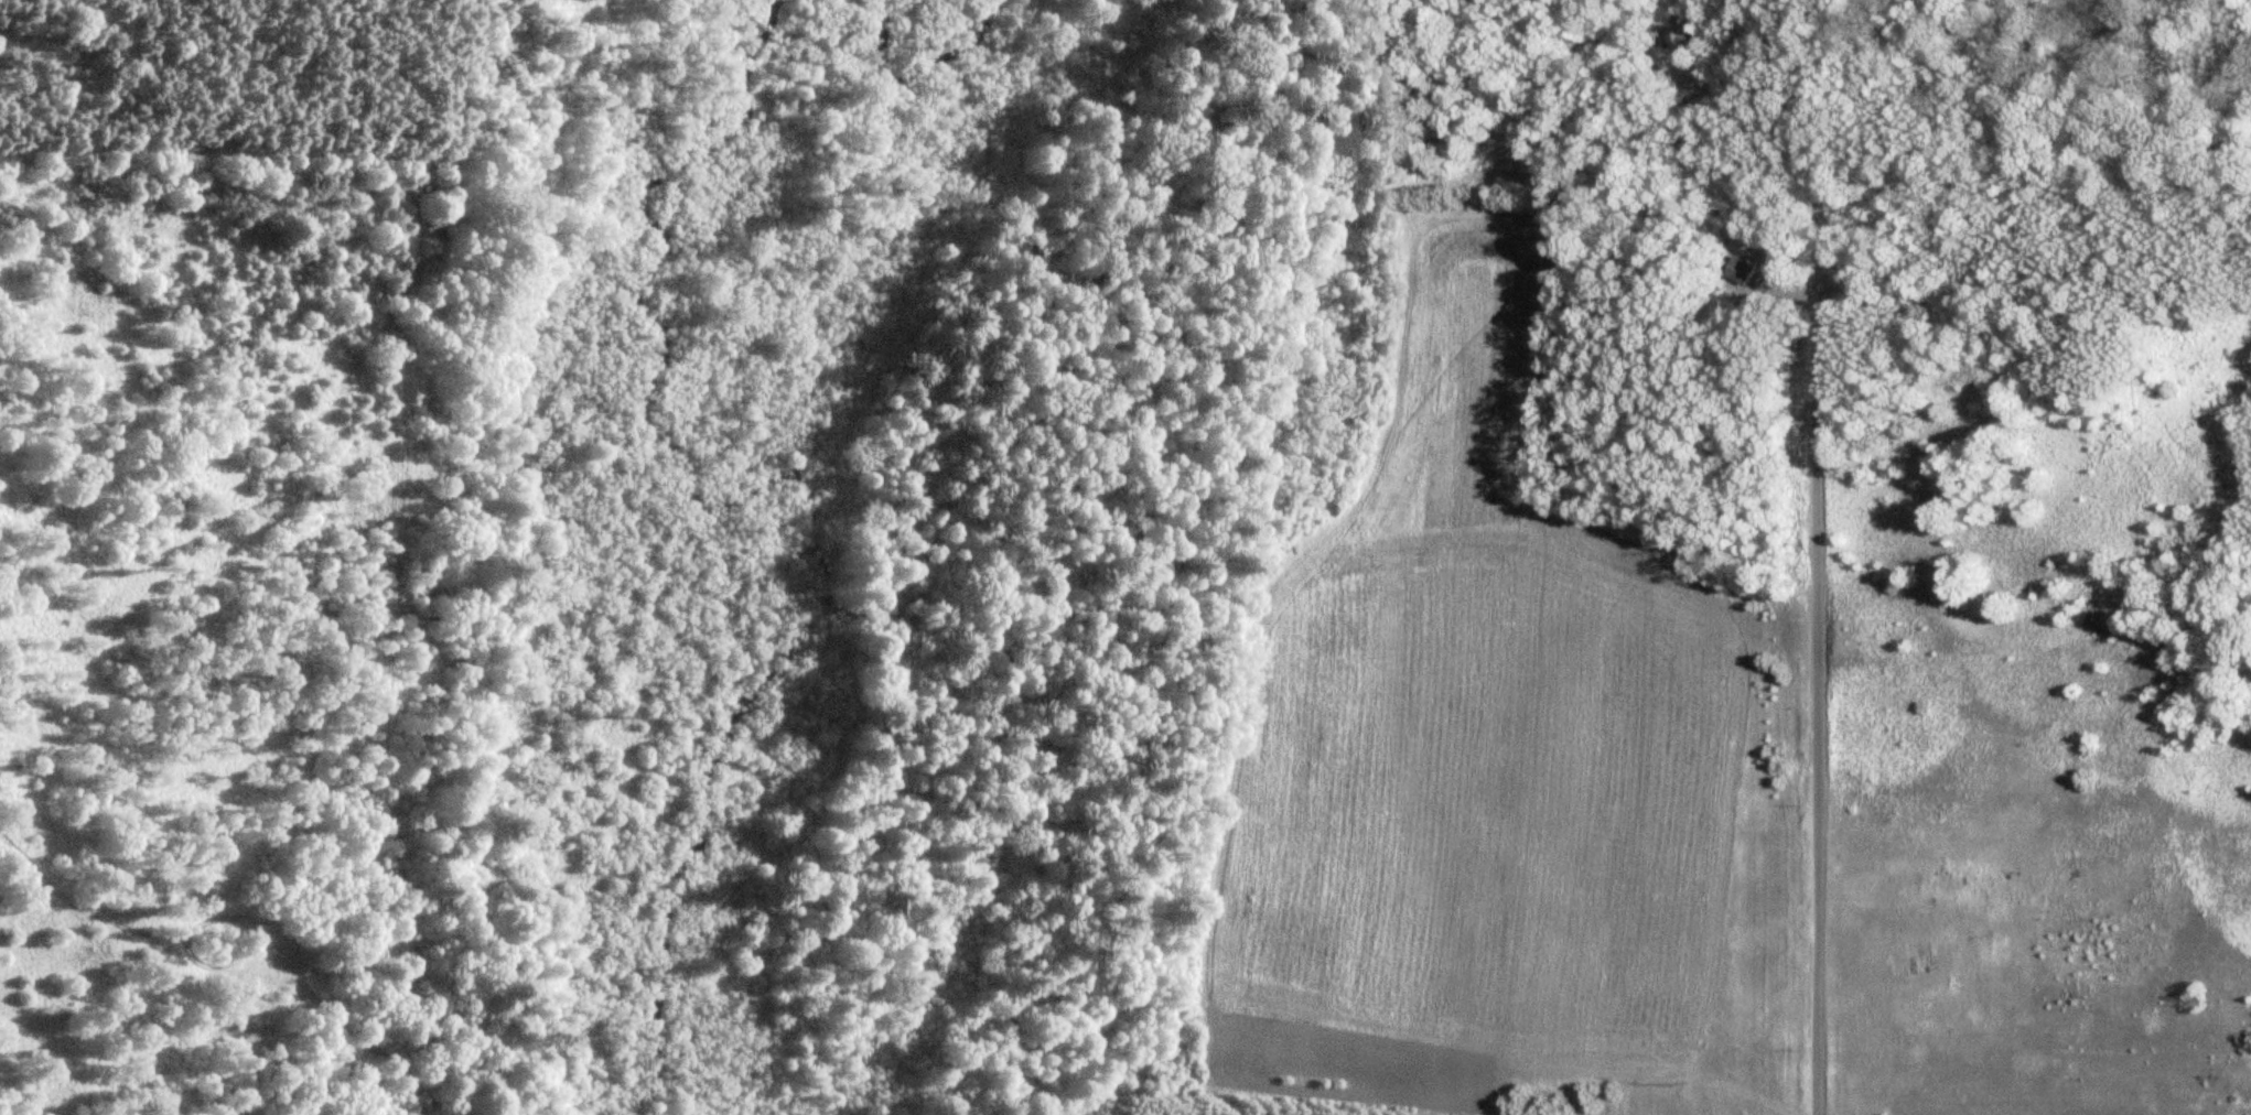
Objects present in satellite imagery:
building: (1678, 39)
building: (1738, 272)
road: (1814, 606)

